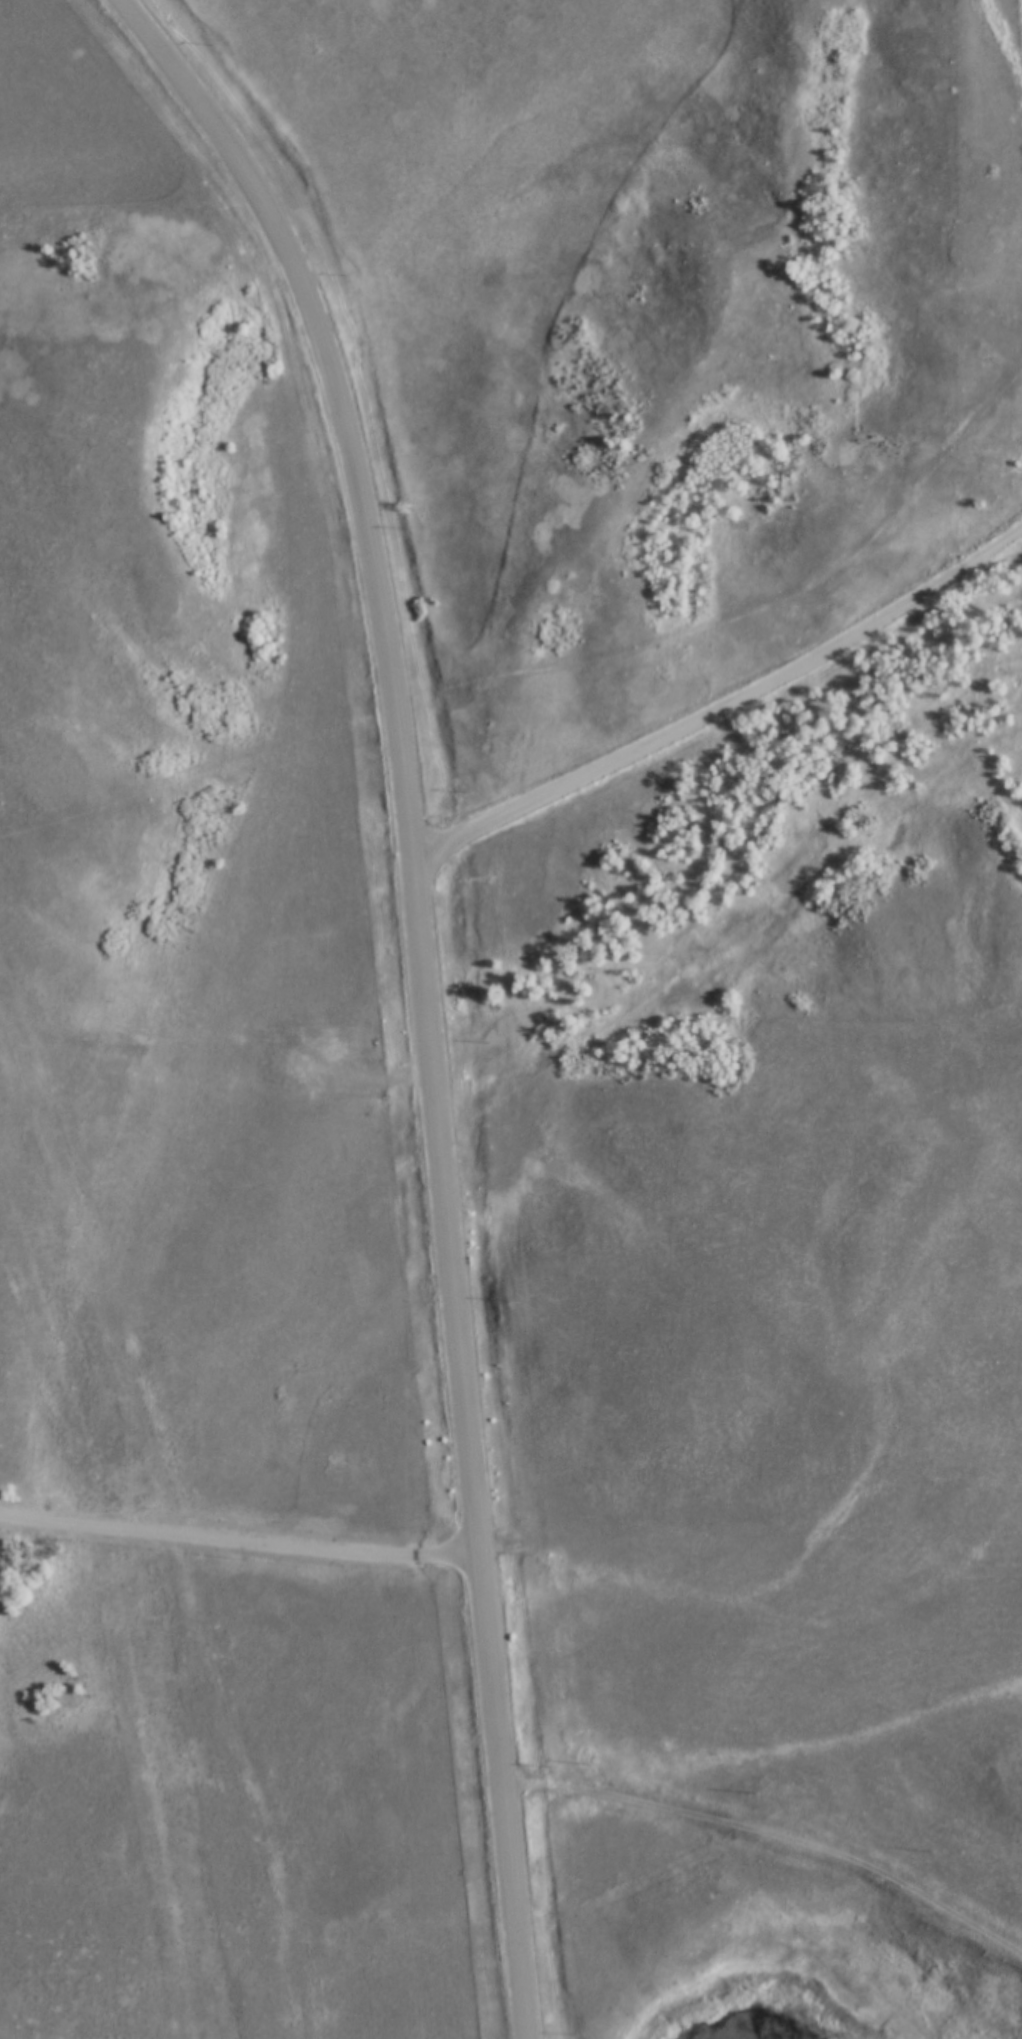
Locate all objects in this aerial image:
road: (723, 705)
road: (419, 988)
road: (238, 1541)

